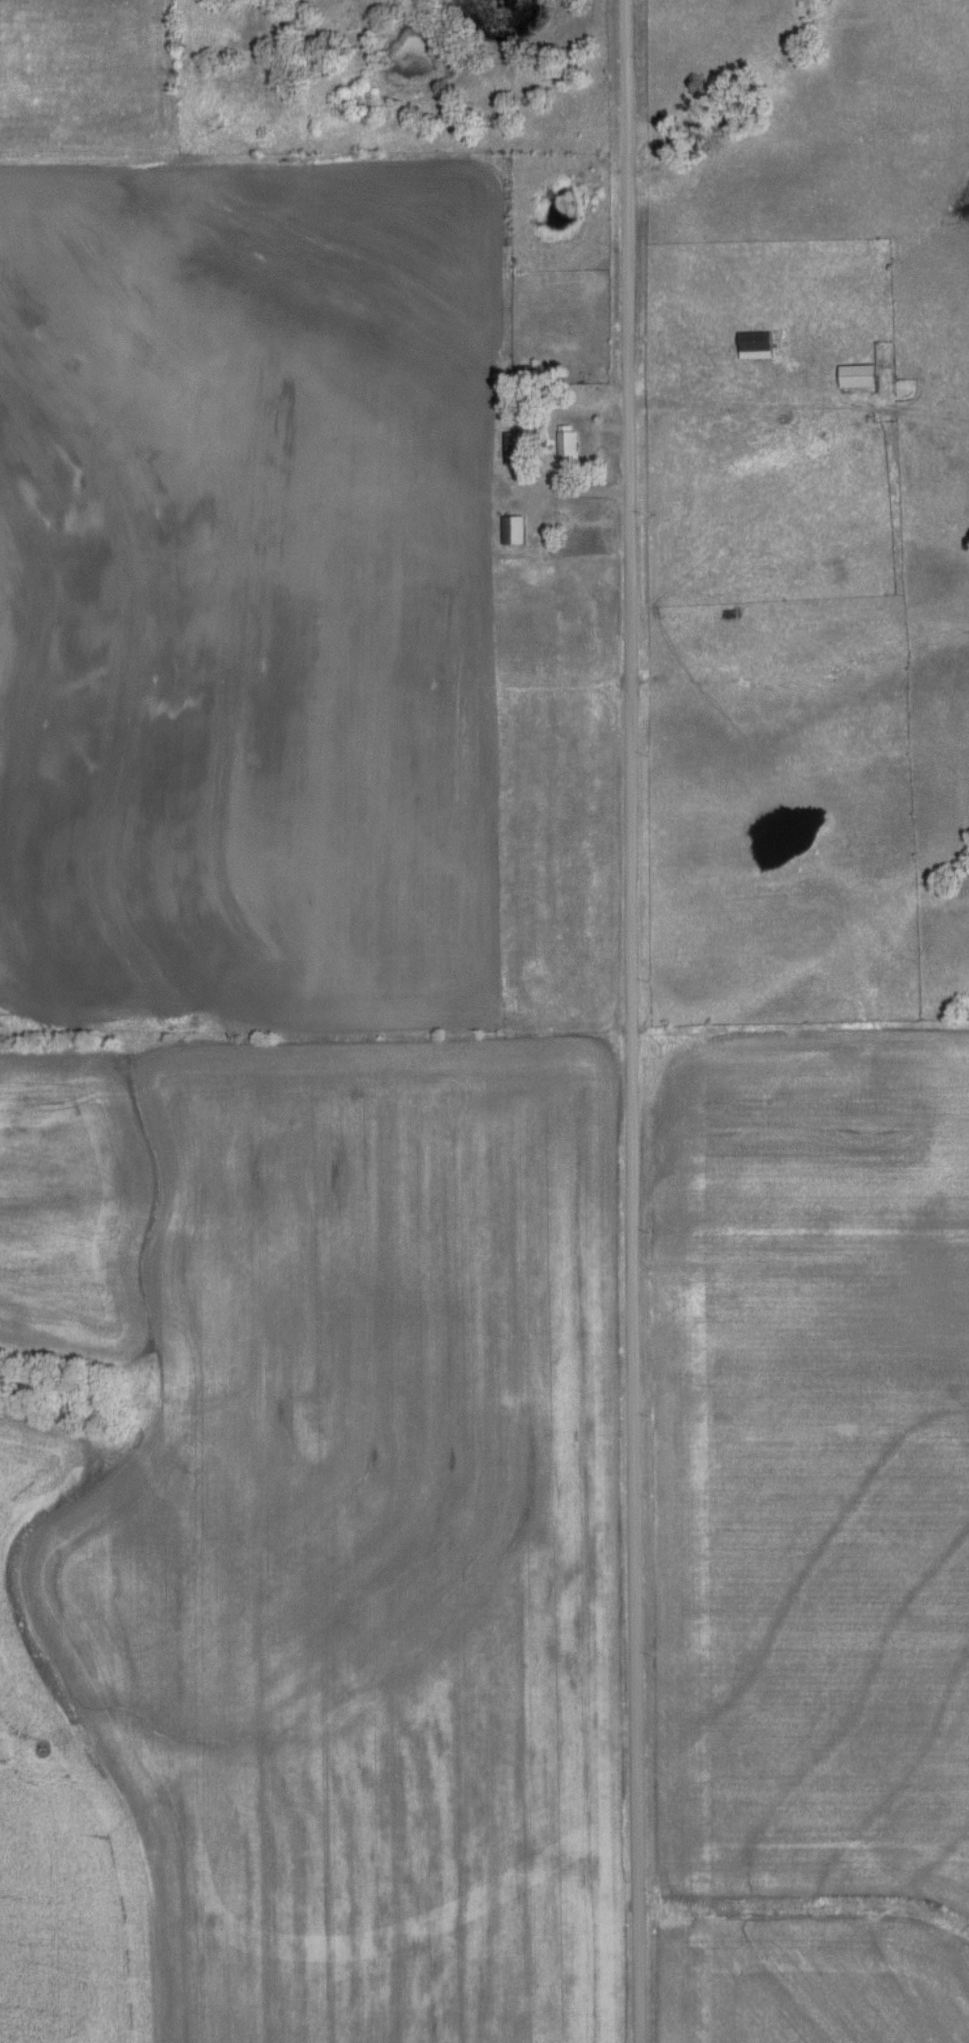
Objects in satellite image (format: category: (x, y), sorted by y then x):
building: (756, 345)
building: (537, 368)
building: (858, 375)
building: (567, 442)
building: (517, 448)
building: (514, 529)
road: (631, 1021)

